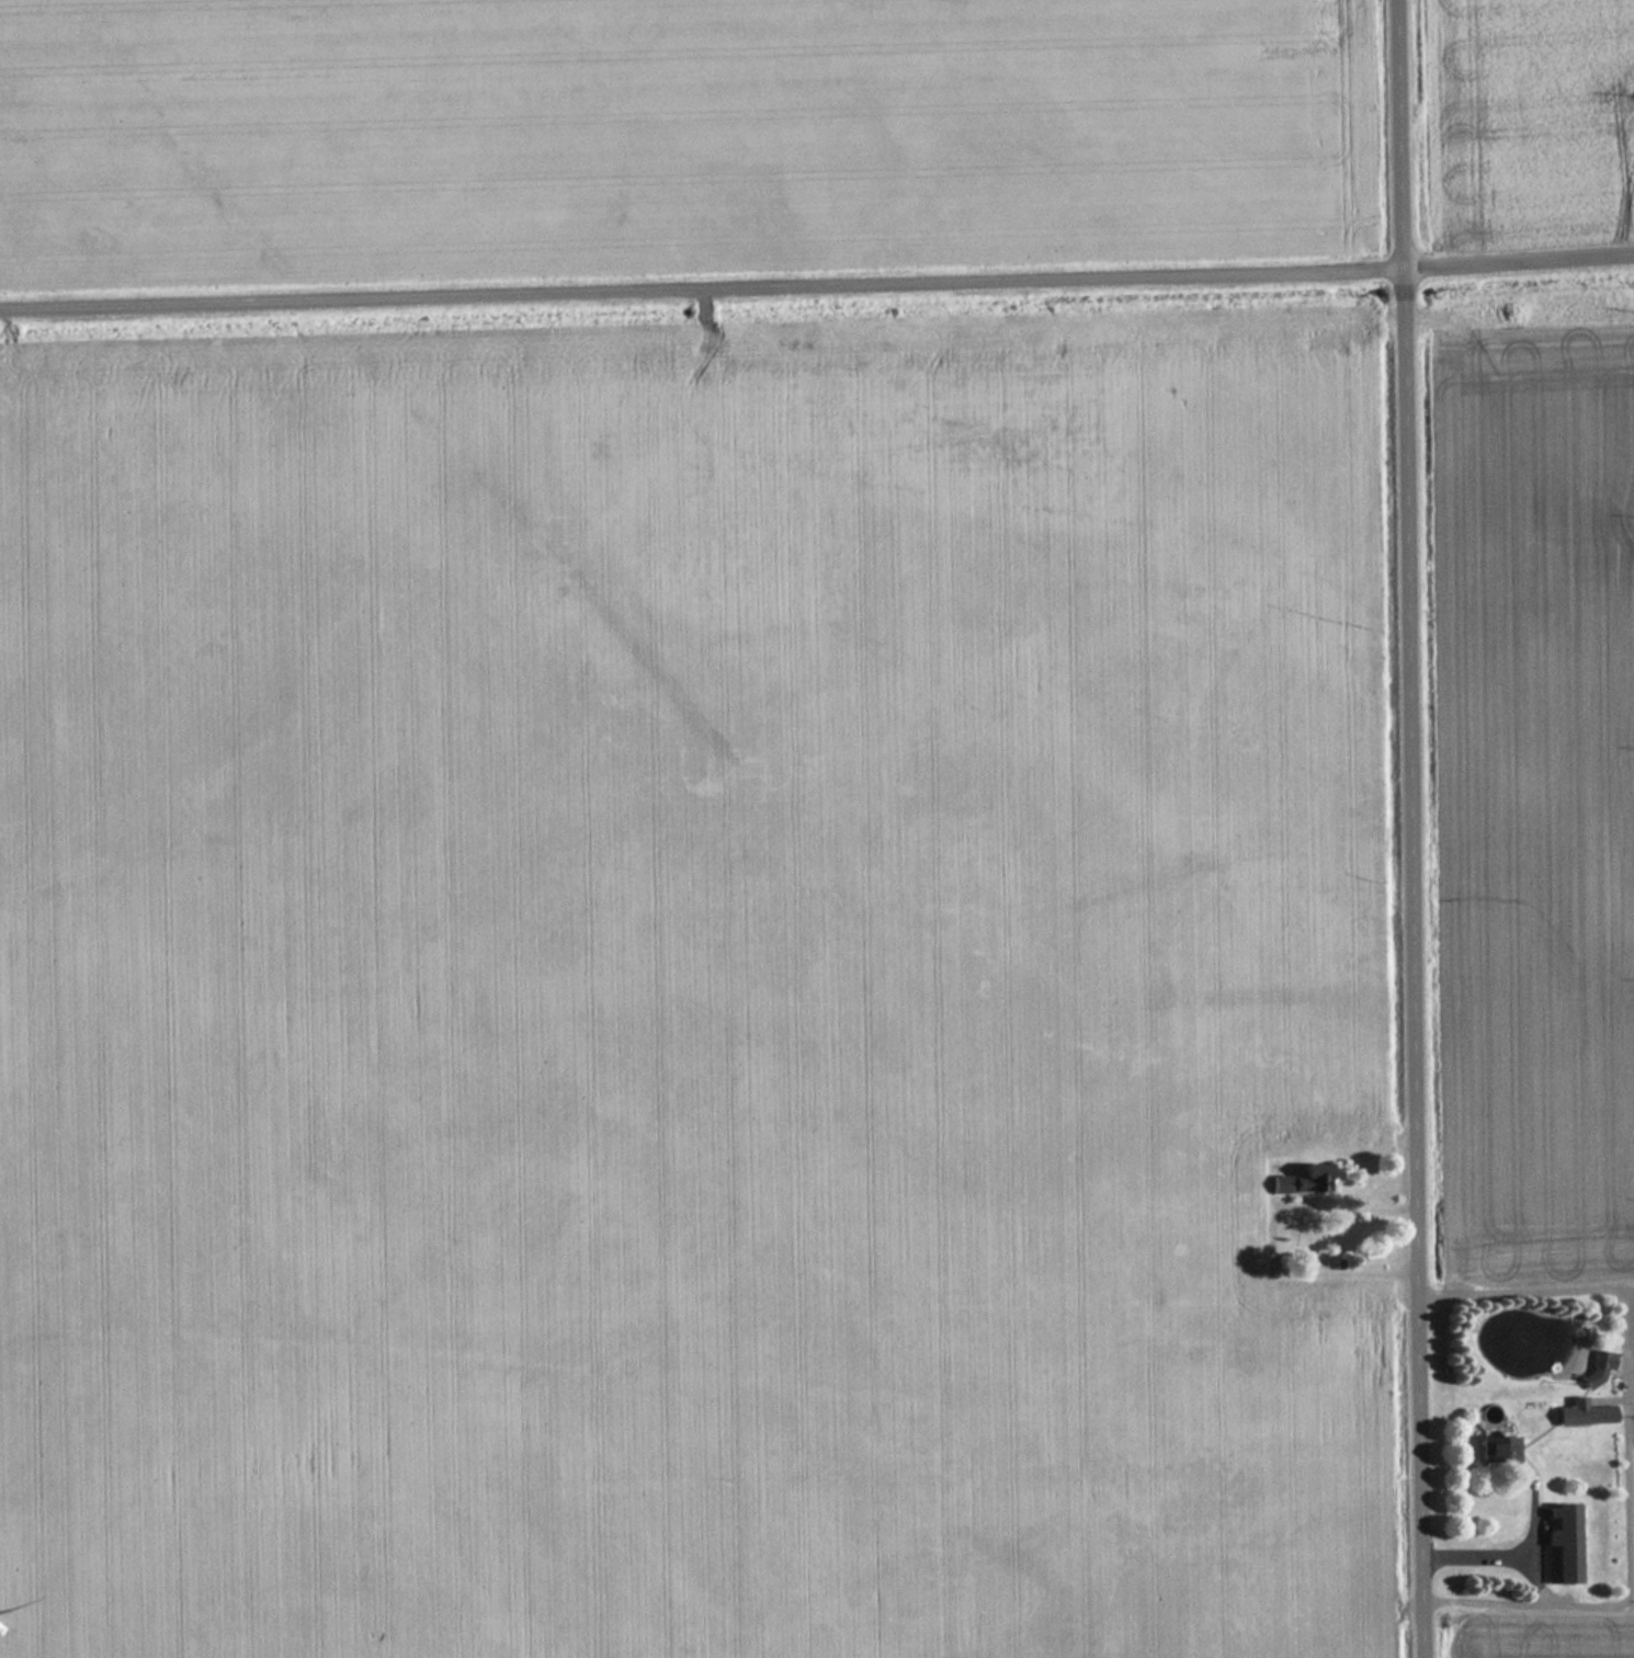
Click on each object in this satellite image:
road: (817, 283)
road: (1416, 828)
building: (1304, 1182)
building: (1588, 1416)
building: (1500, 1452)
building: (1565, 1543)

